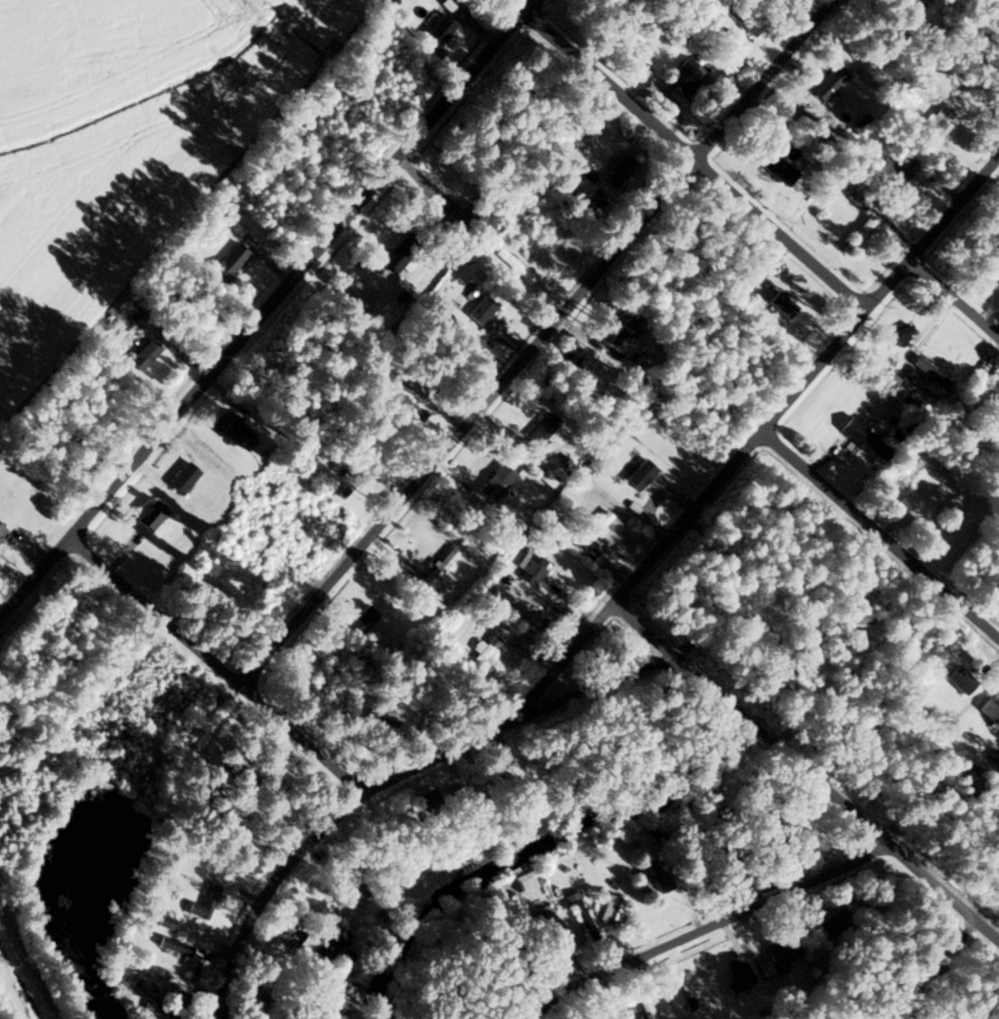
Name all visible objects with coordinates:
building: (438, 29)
building: (684, 77)
building: (827, 83)
building: (936, 120)
road: (689, 162)
building: (776, 168)
building: (616, 171)
building: (889, 176)
building: (858, 238)
building: (394, 261)
building: (228, 263)
road: (953, 303)
building: (780, 305)
road: (266, 309)
building: (479, 310)
building: (621, 333)
building: (897, 337)
road: (543, 346)
building: (141, 355)
building: (929, 373)
road: (806, 378)
building: (410, 388)
building: (974, 392)
building: (541, 430)
building: (232, 432)
building: (862, 440)
building: (639, 474)
building: (353, 478)
building: (181, 479)
building: (494, 483)
building: (148, 515)
building: (592, 527)
building: (1, 530)
road: (879, 541)
building: (441, 564)
building: (531, 569)
building: (209, 600)
road: (155, 618)
building: (362, 618)
building: (989, 711)
road: (501, 720)
road: (752, 726)
road: (303, 745)
road: (685, 795)
building: (463, 866)
building: (657, 875)
road: (266, 894)
road: (943, 894)
building: (203, 903)
building: (612, 911)
building: (580, 915)
building: (163, 922)
building: (834, 923)
road: (705, 925)
building: (546, 926)
building: (322, 943)
building: (173, 946)
building: (779, 957)
power tower: (13, 966)
road: (931, 971)
building: (736, 974)
building: (352, 993)
building: (644, 1005)
building: (173, 1006)

